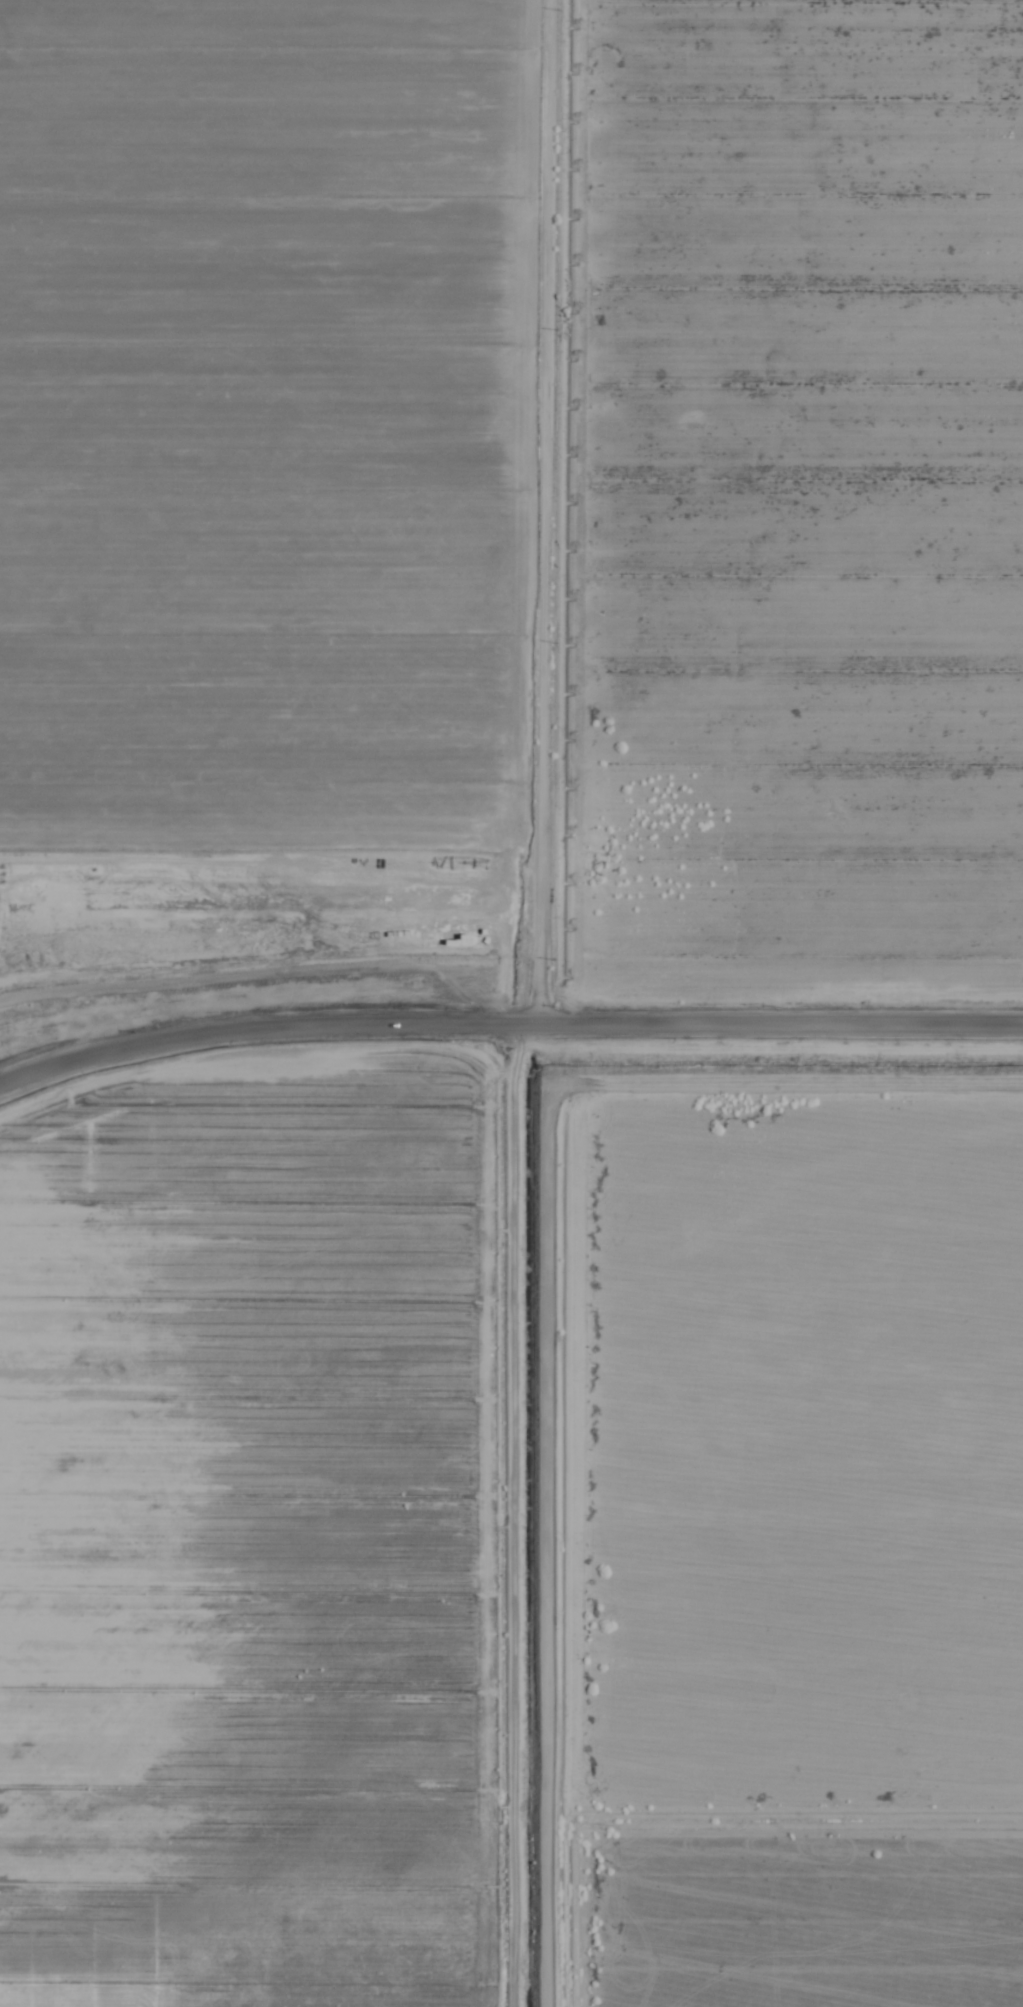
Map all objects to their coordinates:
road: (519, 518)
crop: (511, 1003)
road: (505, 1030)

